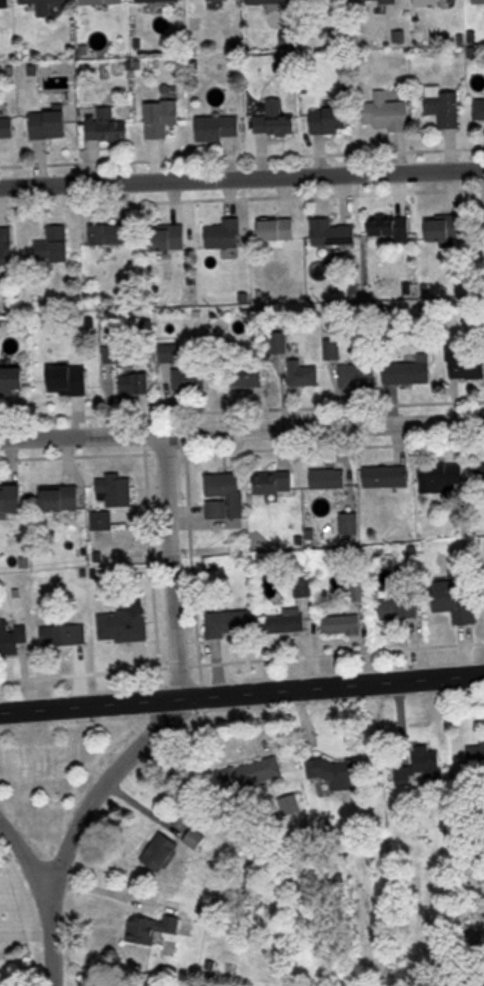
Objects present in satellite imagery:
building: (159, 1)
building: (216, 1)
building: (381, 1)
building: (479, 1)
building: (103, 2)
building: (270, 2)
building: (7, 3)
building: (431, 3)
building: (47, 7)
building: (445, 106)
building: (479, 111)
building: (388, 113)
building: (161, 118)
building: (276, 120)
building: (331, 120)
building: (50, 123)
building: (108, 127)
building: (220, 128)
building: (8, 129)
road: (242, 176)
building: (390, 227)
building: (279, 229)
building: (445, 229)
building: (333, 232)
building: (225, 233)
building: (114, 234)
building: (169, 237)
building: (55, 245)
building: (7, 246)
building: (168, 353)
building: (111, 354)
building: (465, 366)
building: (409, 372)
building: (303, 375)
building: (357, 376)
building: (189, 379)
building: (13, 380)
building: (69, 380)
building: (135, 385)
road: (242, 429)
building: (480, 474)
building: (387, 477)
building: (440, 478)
building: (328, 479)
building: (274, 482)
building: (115, 491)
building: (224, 495)
building: (61, 498)
building: (11, 502)
building: (102, 520)
road: (168, 566)
building: (360, 592)
building: (457, 600)
building: (401, 608)
building: (288, 621)
building: (232, 623)
building: (343, 624)
building: (123, 625)
building: (64, 635)
building: (14, 638)
road: (332, 686)
road: (89, 705)
building: (415, 765)
park: (30, 766)
building: (251, 772)
building: (337, 773)
park: (48, 775)
road: (76, 826)
building: (195, 838)
building: (162, 851)
road: (24, 858)
building: (151, 927)

